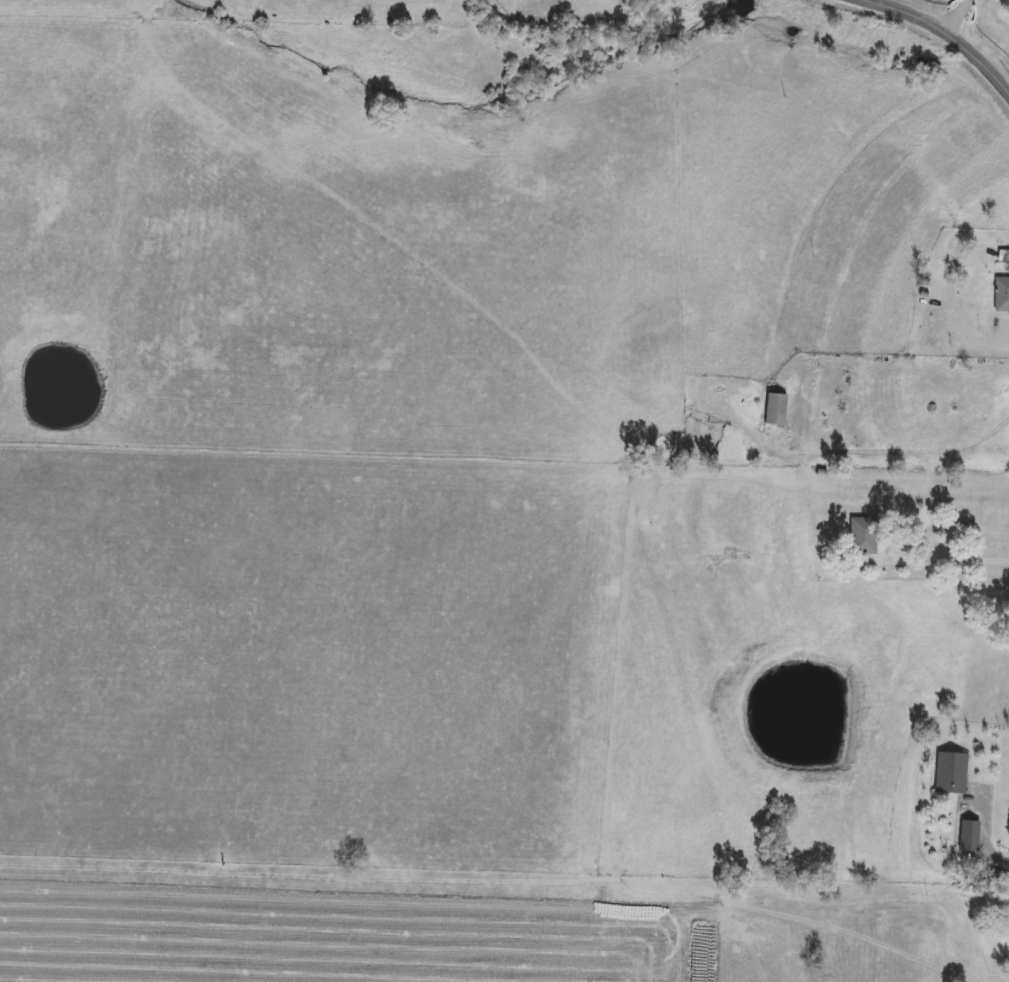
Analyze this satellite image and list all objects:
road: (955, 11)
road: (944, 23)
building: (1001, 295)
building: (776, 410)
road: (890, 446)
building: (864, 536)
road: (946, 558)
building: (952, 773)
building: (969, 837)
road: (982, 845)

